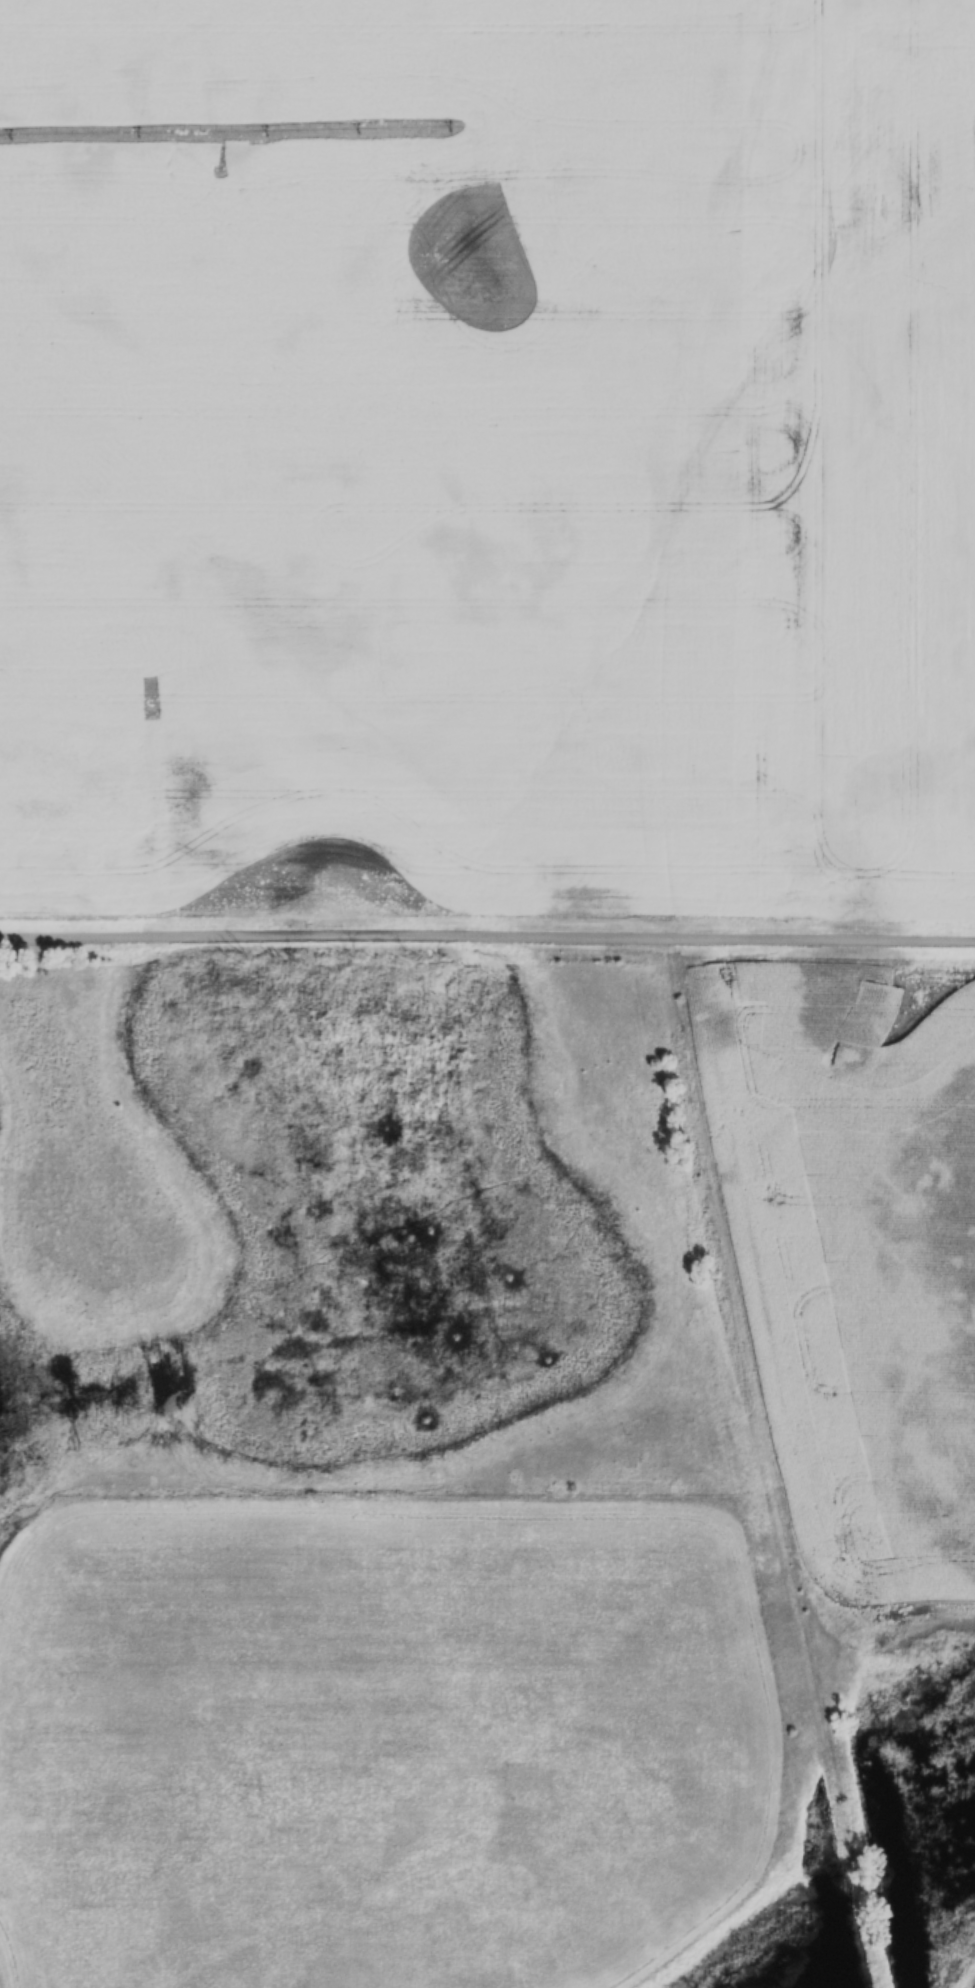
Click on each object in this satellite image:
road: (736, 939)
road: (86, 940)

